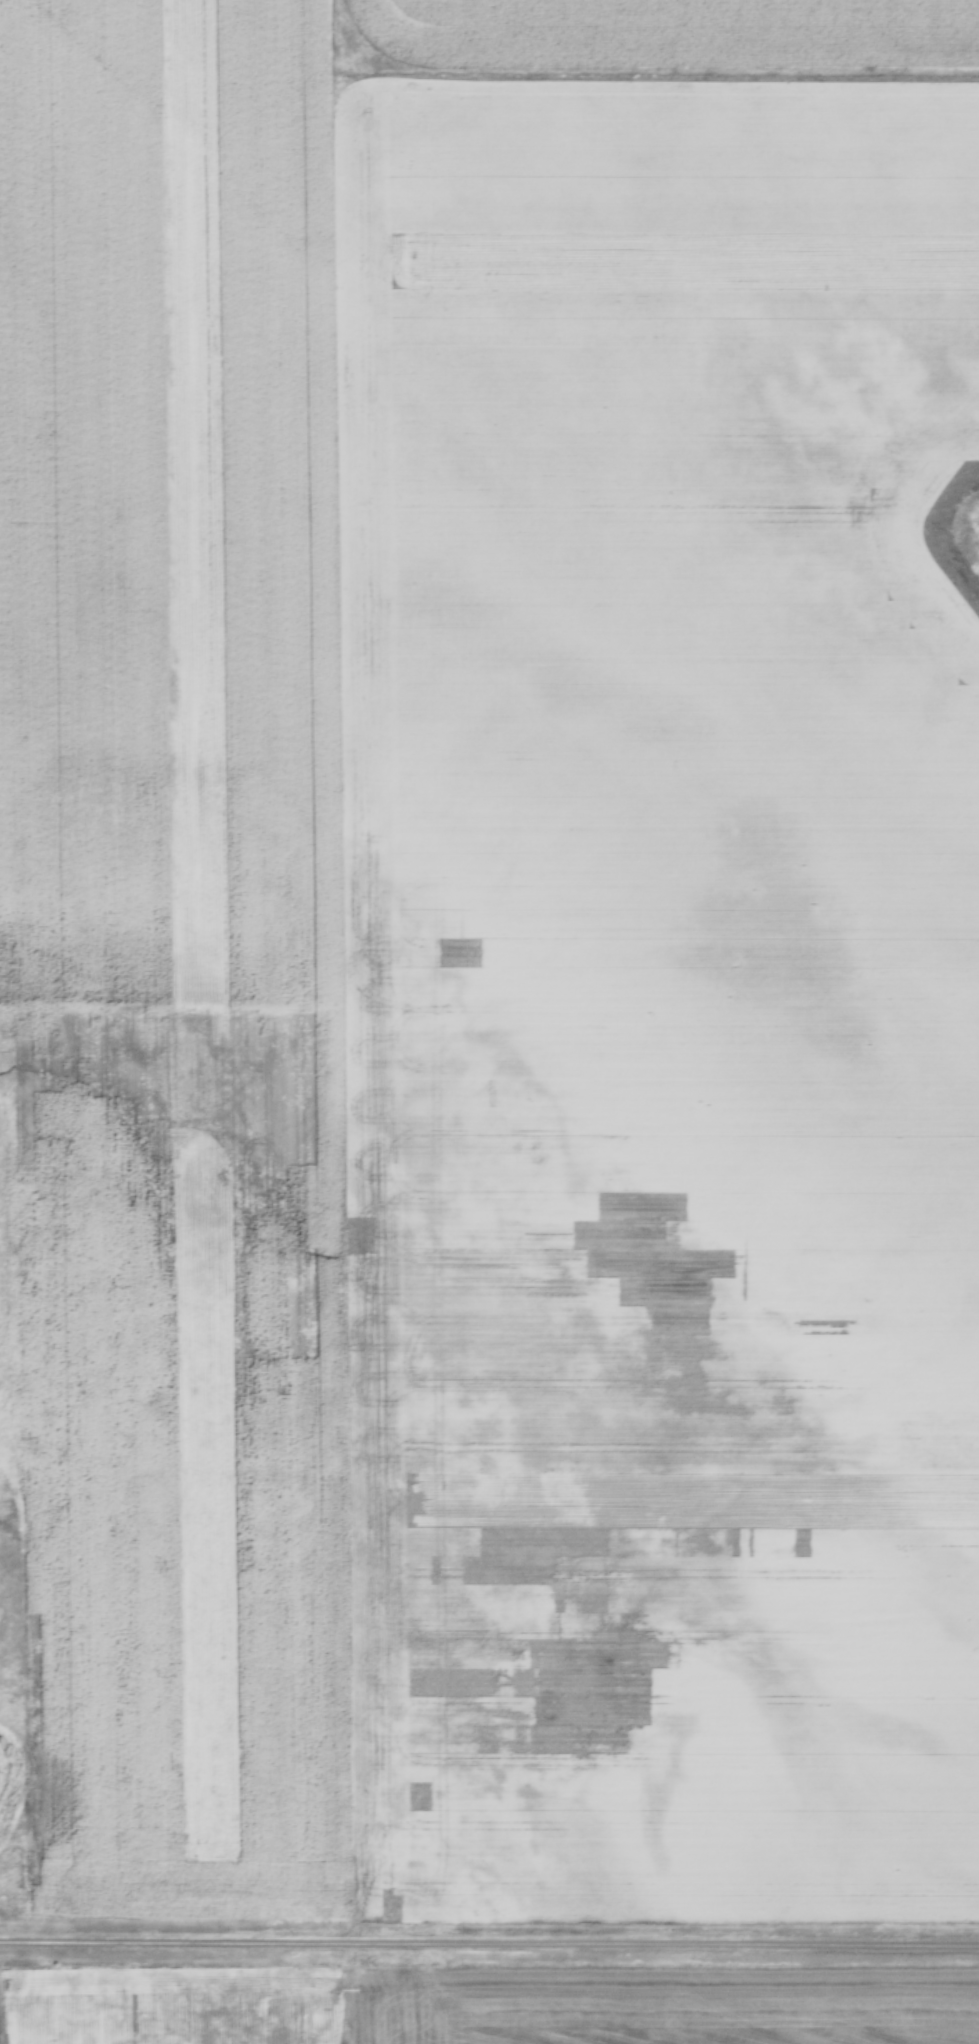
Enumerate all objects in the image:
road: (489, 1942)

